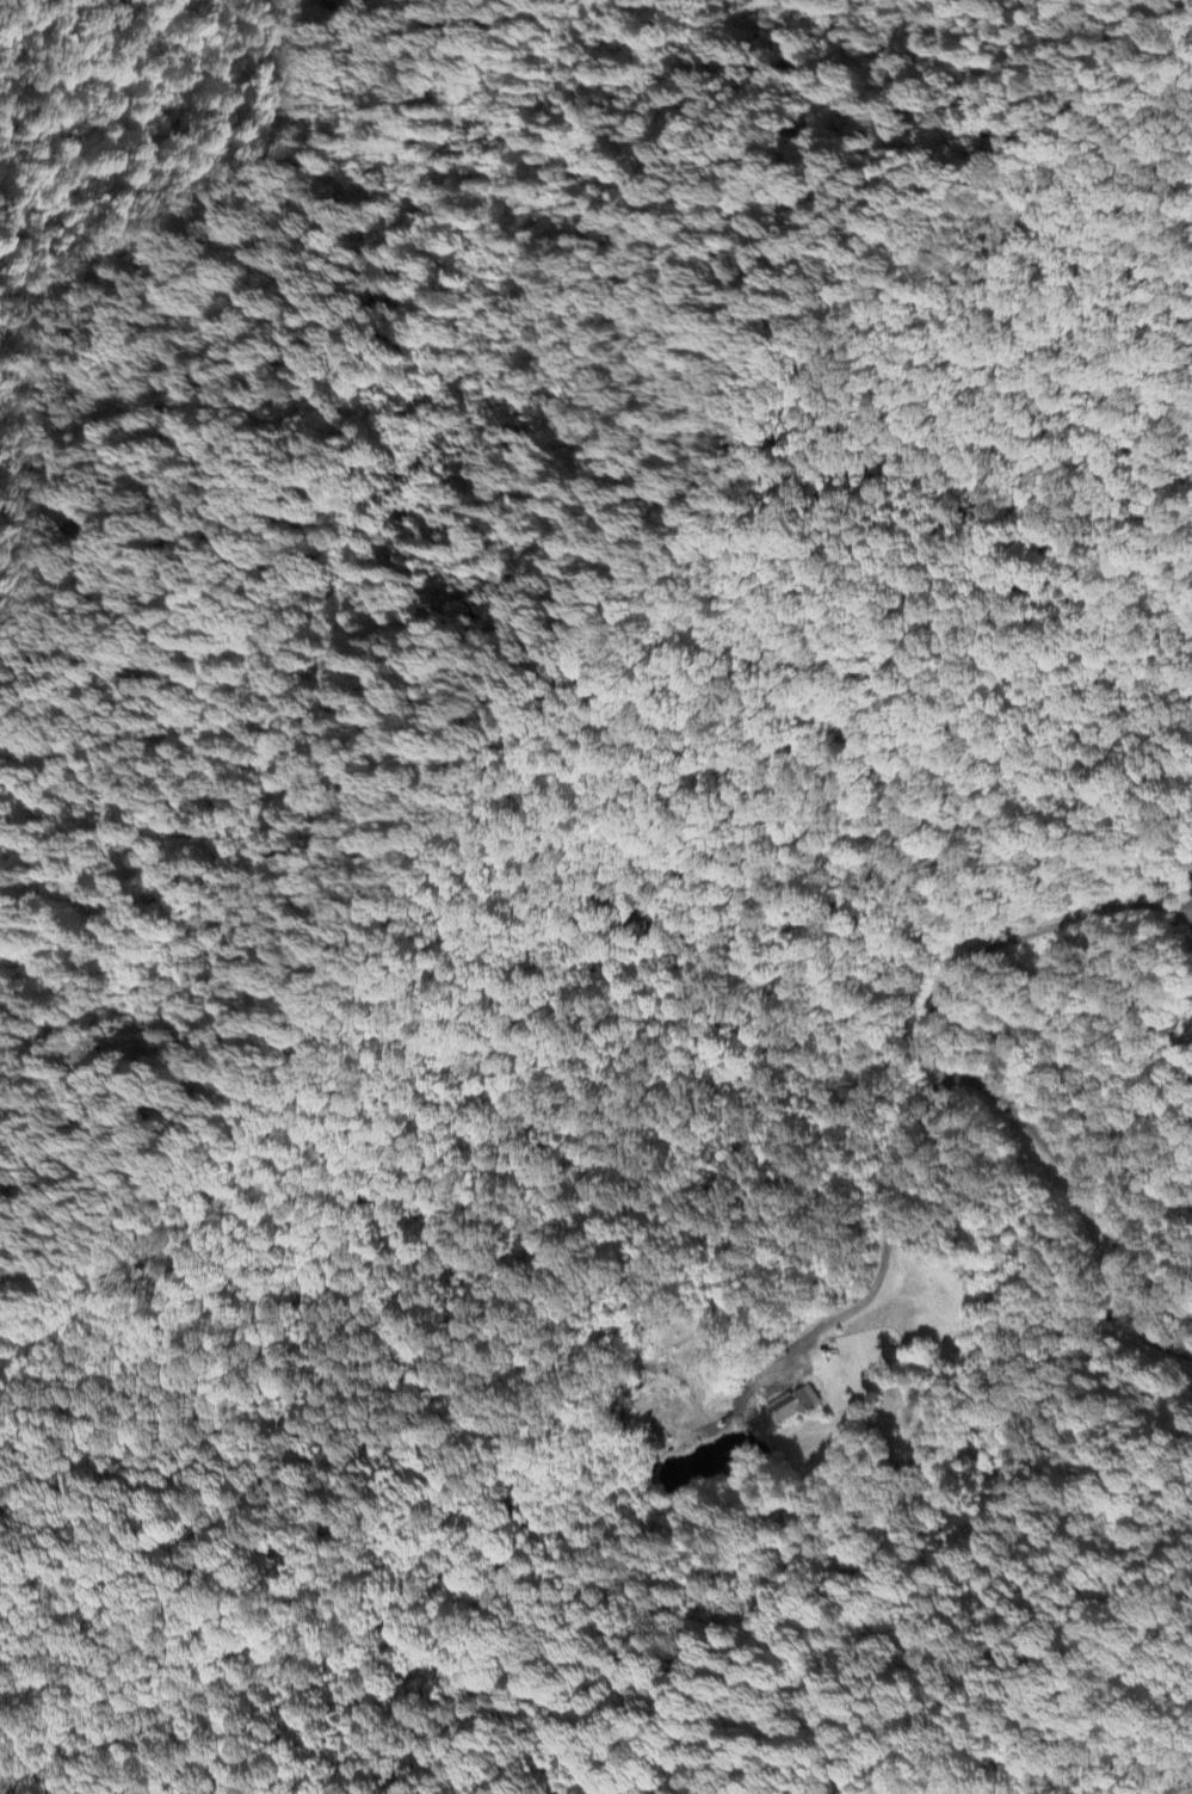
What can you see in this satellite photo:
road: (1014, 936)
road: (1089, 1200)
road: (885, 1232)
building: (792, 1404)

